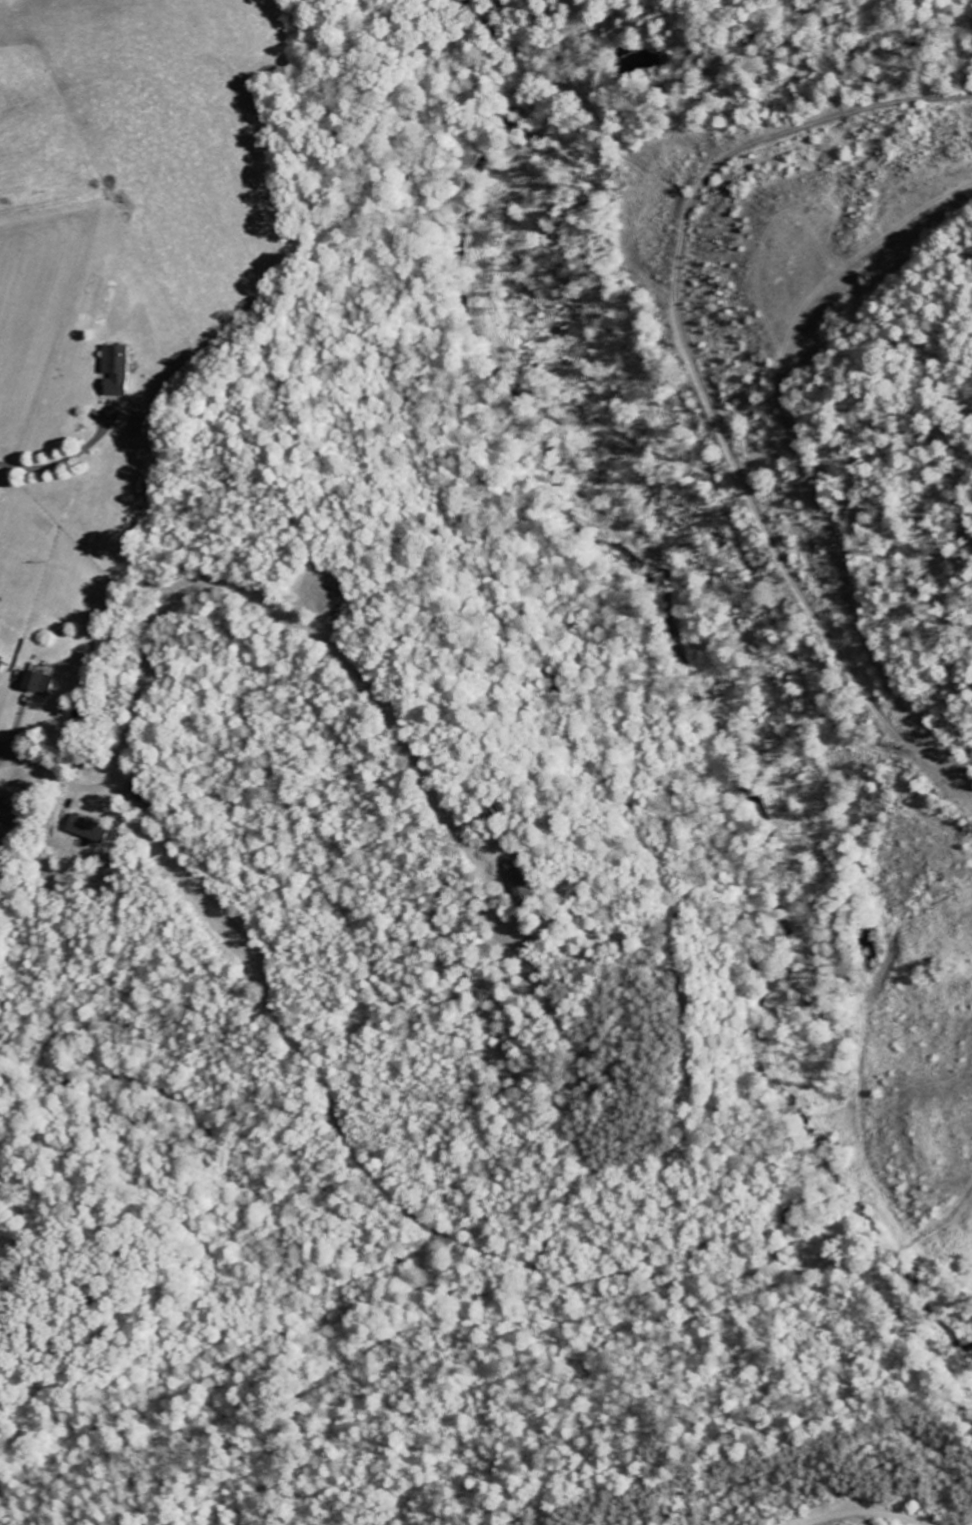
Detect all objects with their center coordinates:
building: (112, 370)
building: (0, 659)
building: (34, 682)
road: (26, 759)
building: (518, 881)

